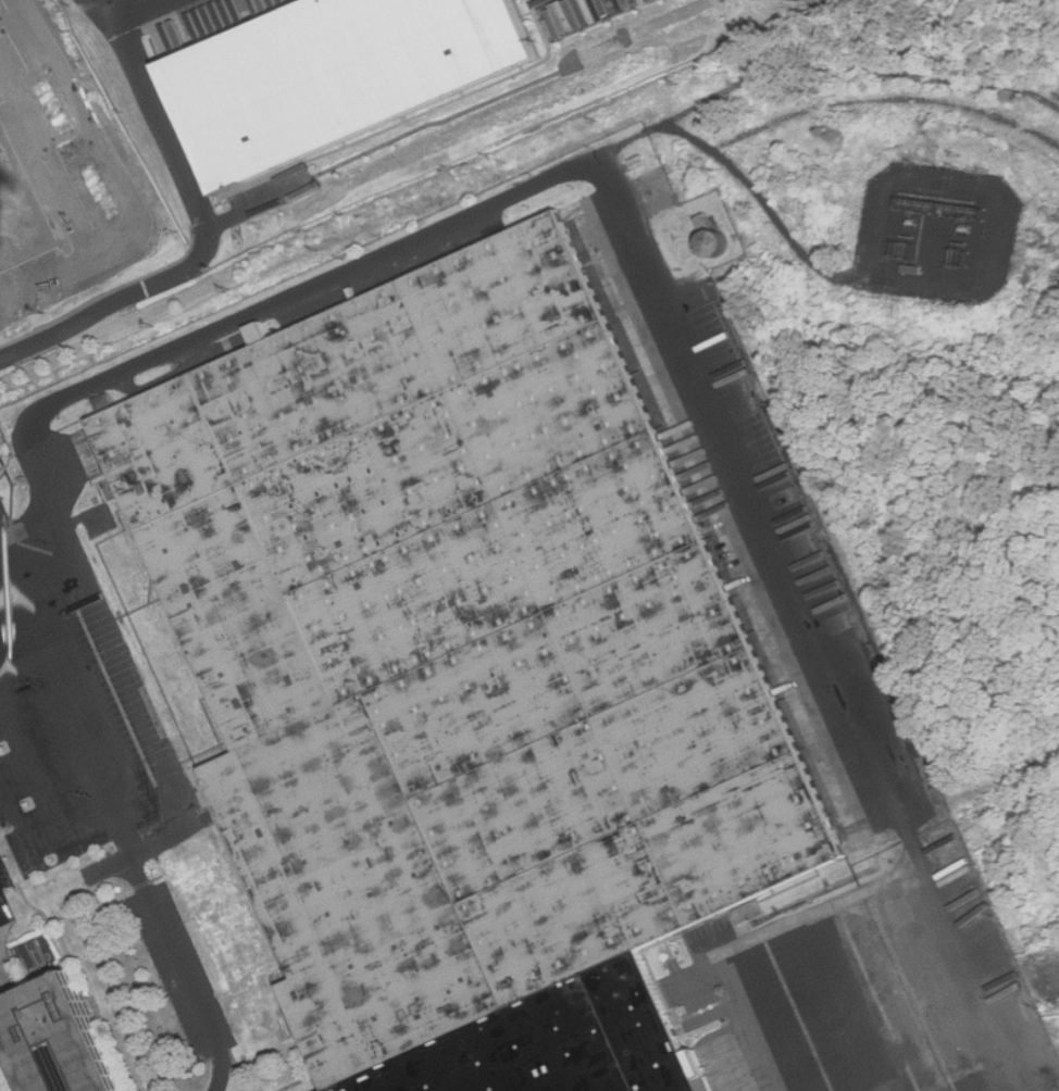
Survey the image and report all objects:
road: (109, 7)
road: (854, 64)
building: (340, 73)
railway: (889, 100)
road: (170, 142)
building: (1, 166)
road: (95, 174)
road: (257, 205)
road: (776, 224)
power substation: (938, 233)
road: (302, 293)
road: (90, 315)
road: (813, 622)
building: (464, 678)
road: (72, 689)
railway: (949, 803)
road: (146, 850)
road: (5, 905)
road: (2, 919)
road: (751, 935)
road: (708, 971)
road: (184, 973)
road: (848, 1001)
railway: (1054, 1023)
railway: (1055, 1031)
building: (59, 1038)

